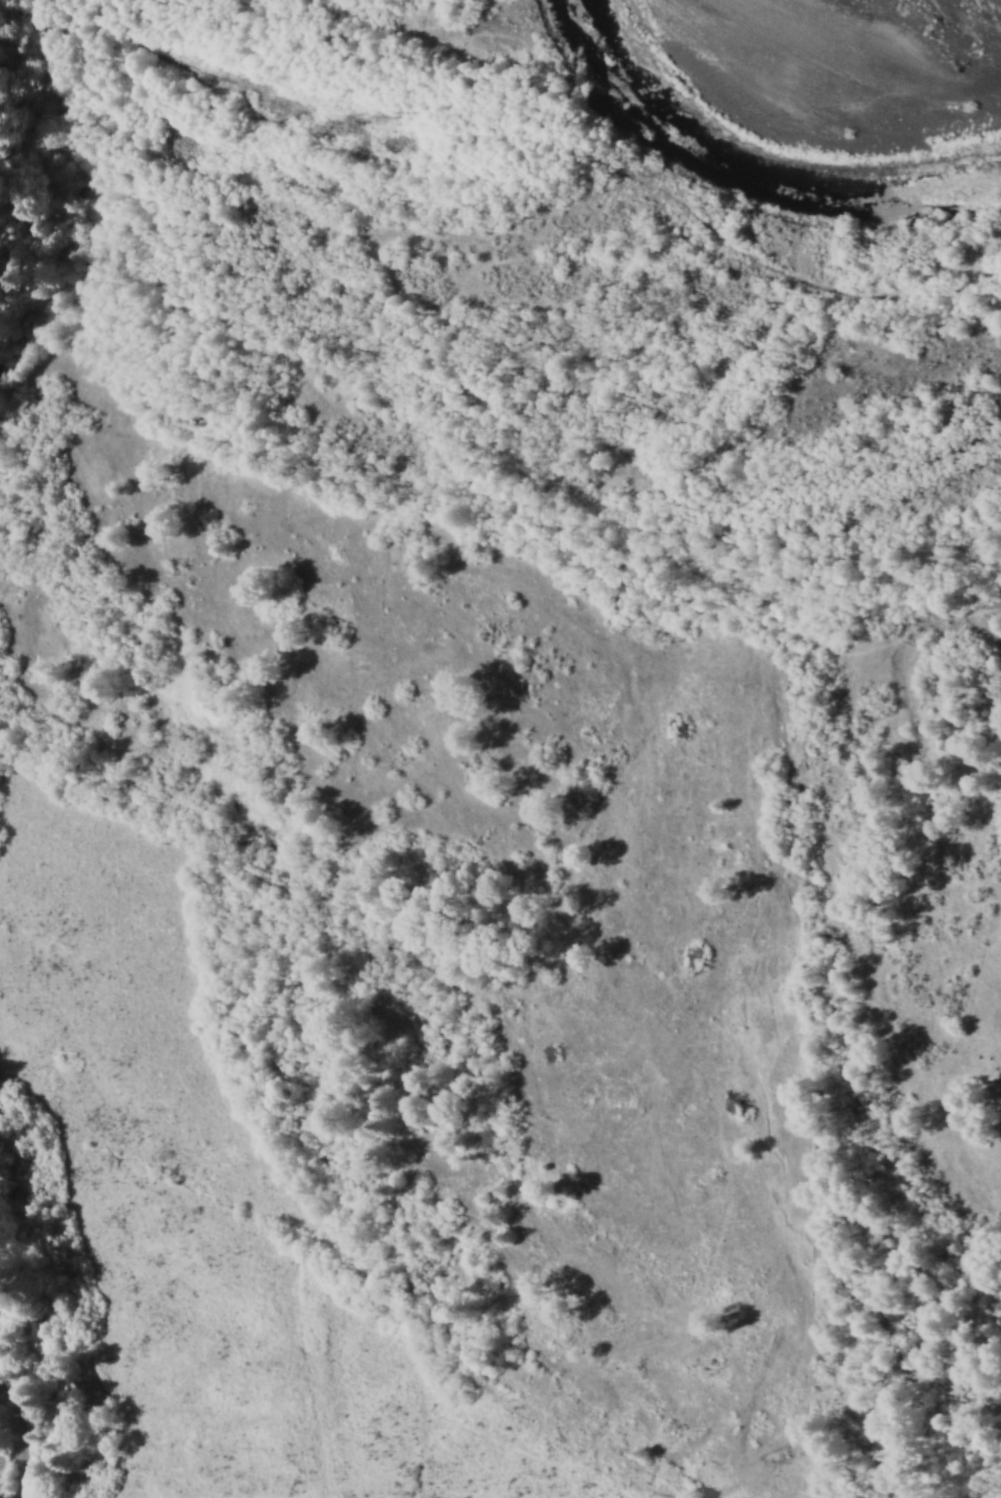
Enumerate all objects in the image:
river: (983, 24)

